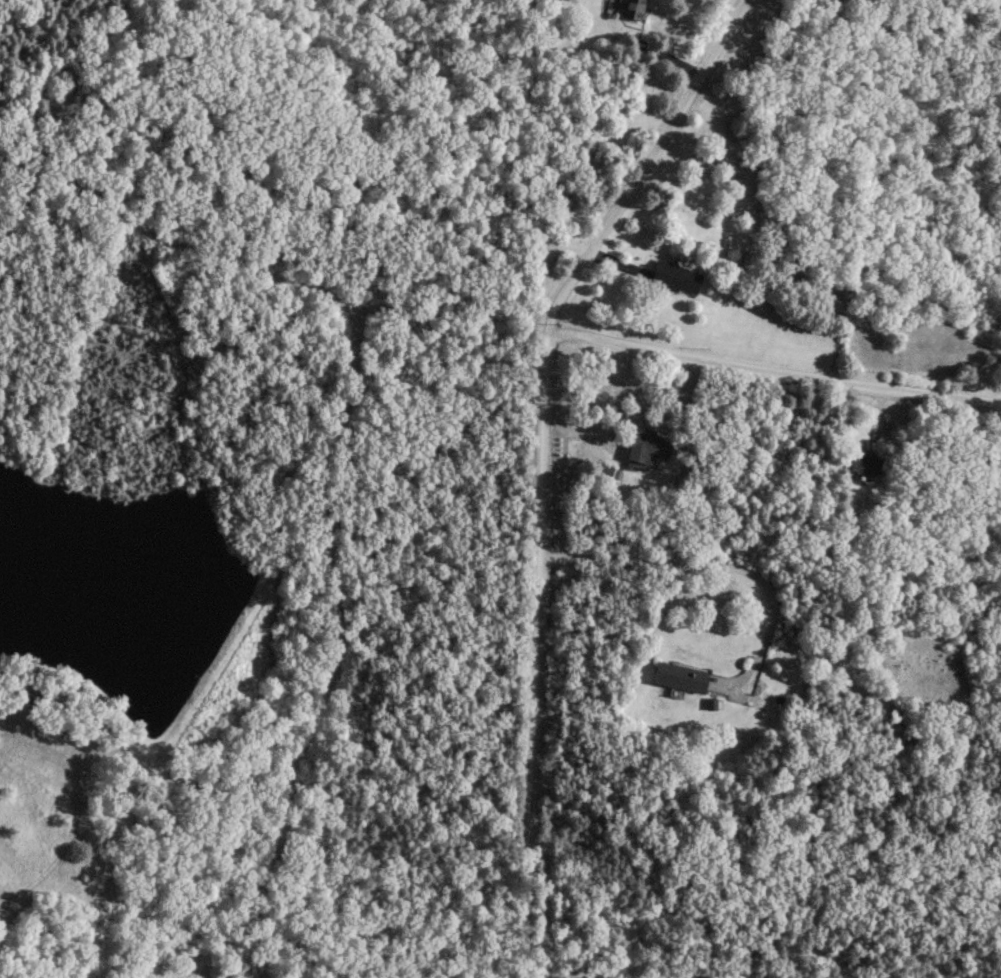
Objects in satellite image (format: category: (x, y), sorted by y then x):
building: (630, 9)
building: (672, 277)
road: (772, 370)
building: (644, 446)
road: (537, 460)
building: (861, 463)
road: (715, 568)
building: (676, 677)

